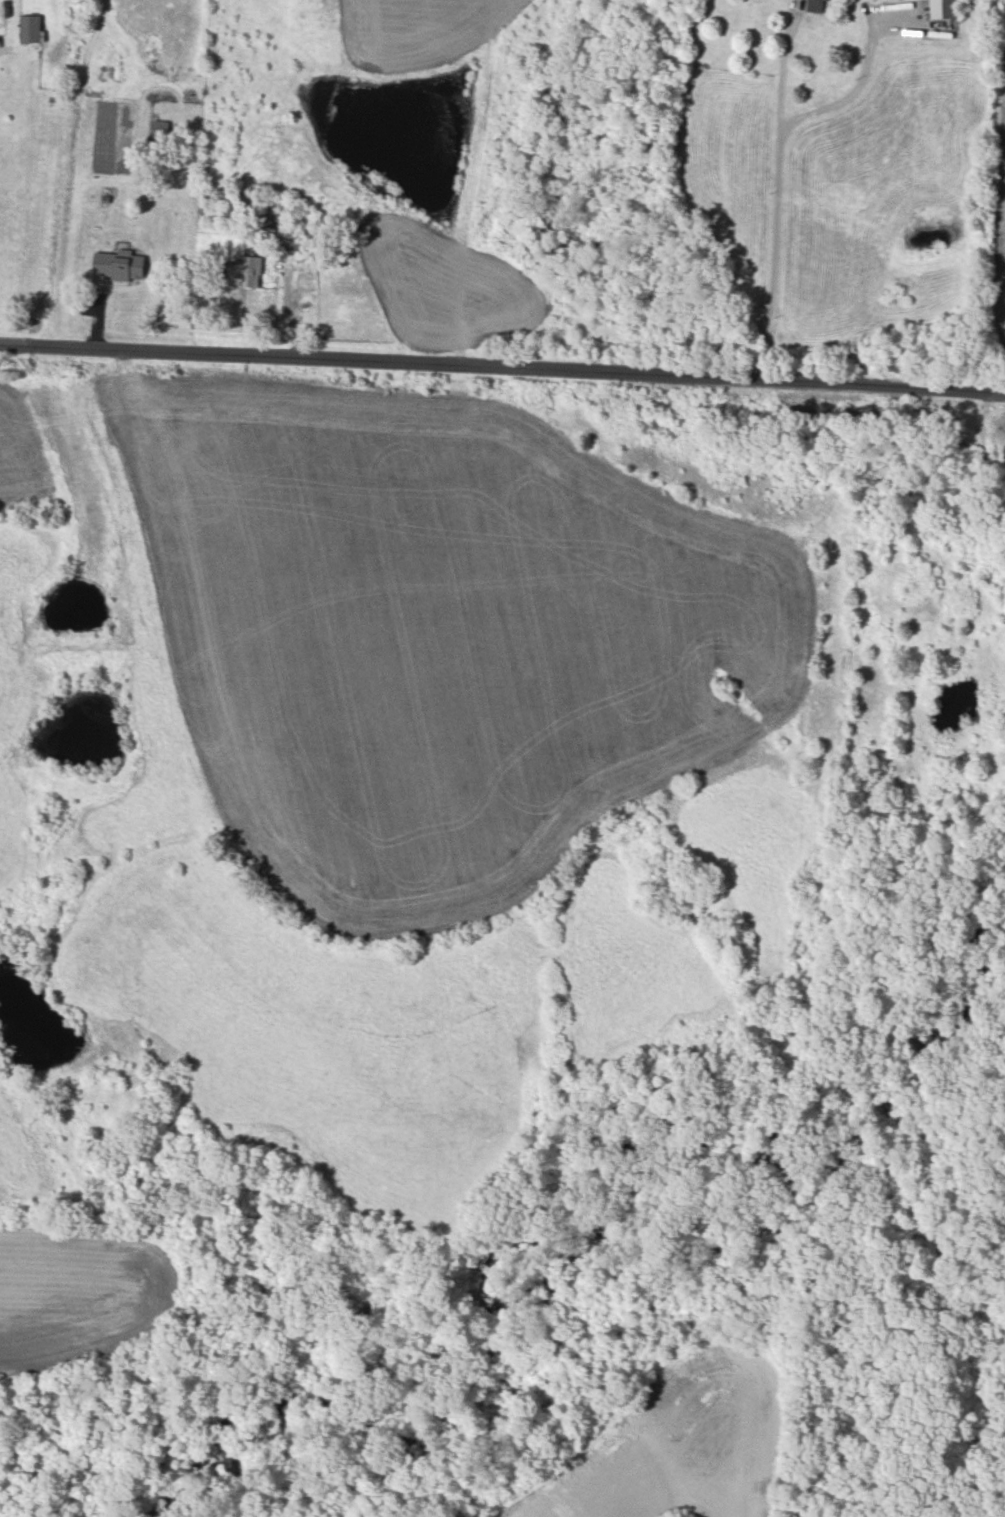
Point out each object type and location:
building: (818, 5)
building: (942, 9)
building: (31, 29)
crop: (376, 34)
building: (159, 138)
road: (775, 201)
crop: (994, 211)
building: (290, 241)
building: (119, 264)
building: (246, 270)
road: (502, 359)
building: (1004, 450)
crop: (16, 462)
crop: (440, 624)
crop: (17, 684)
crop: (38, 1161)
crop: (71, 1294)
crop: (681, 1437)

